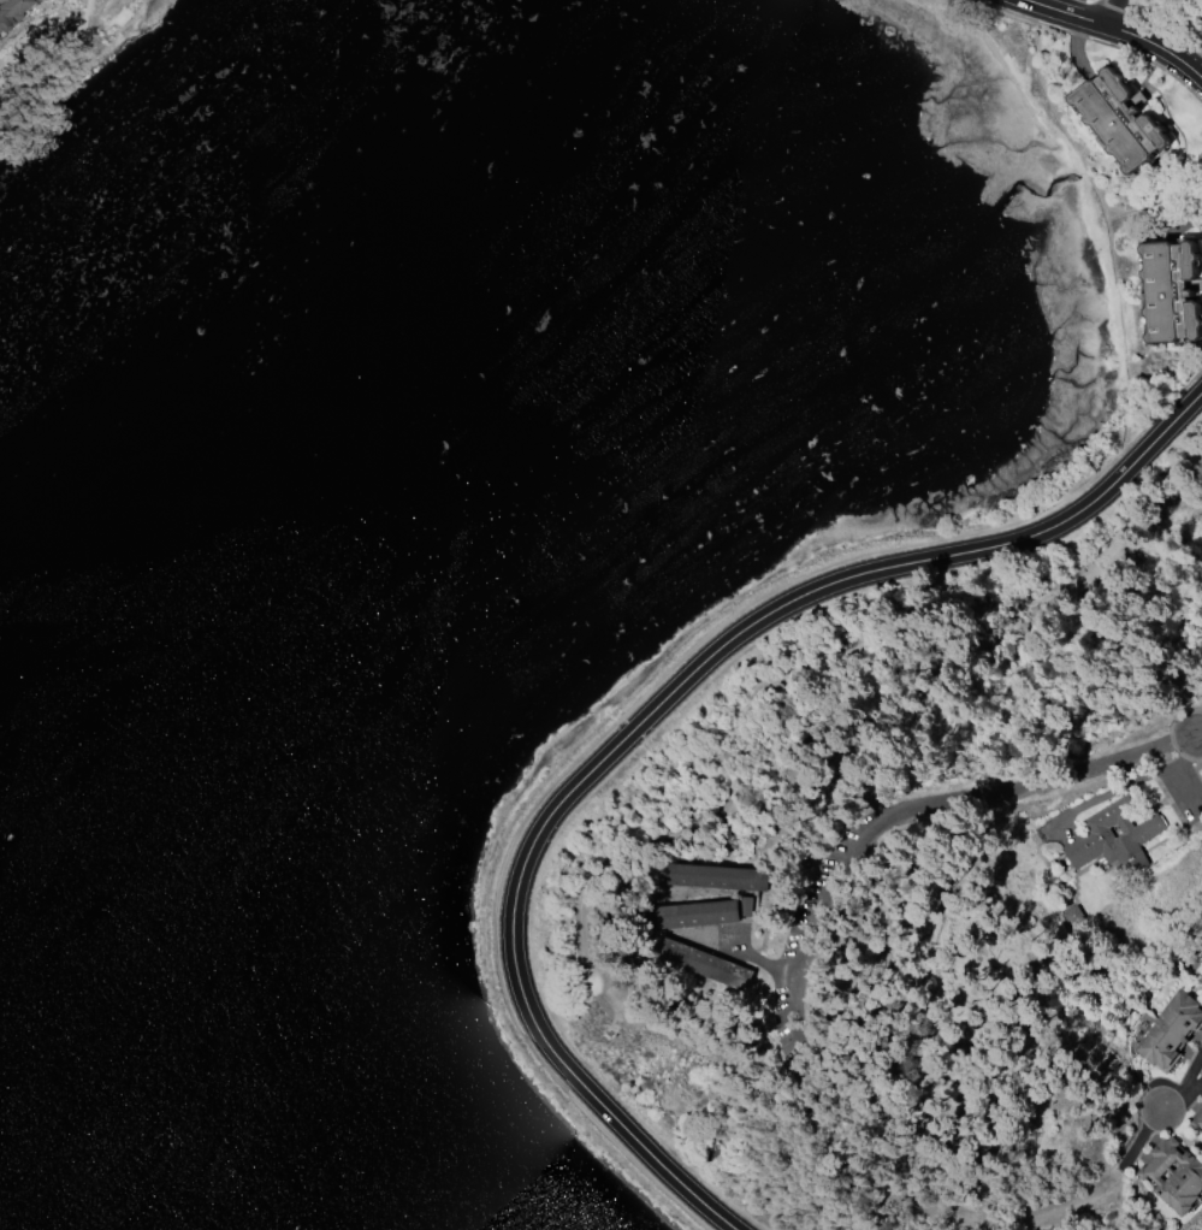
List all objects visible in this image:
building: (32, 0)
road: (1011, 11)
building: (11, 12)
road: (1113, 13)
road: (1117, 31)
road: (1129, 49)
building: (1121, 117)
building: (1173, 289)
road: (1163, 410)
road: (768, 592)
road: (652, 711)
road: (1200, 737)
road: (929, 823)
building: (1114, 835)
building: (718, 876)
building: (691, 912)
building: (1073, 917)
road: (759, 959)
building: (704, 962)
building: (1171, 1029)
road: (1151, 1118)
building: (1196, 1119)
building: (1174, 1175)

